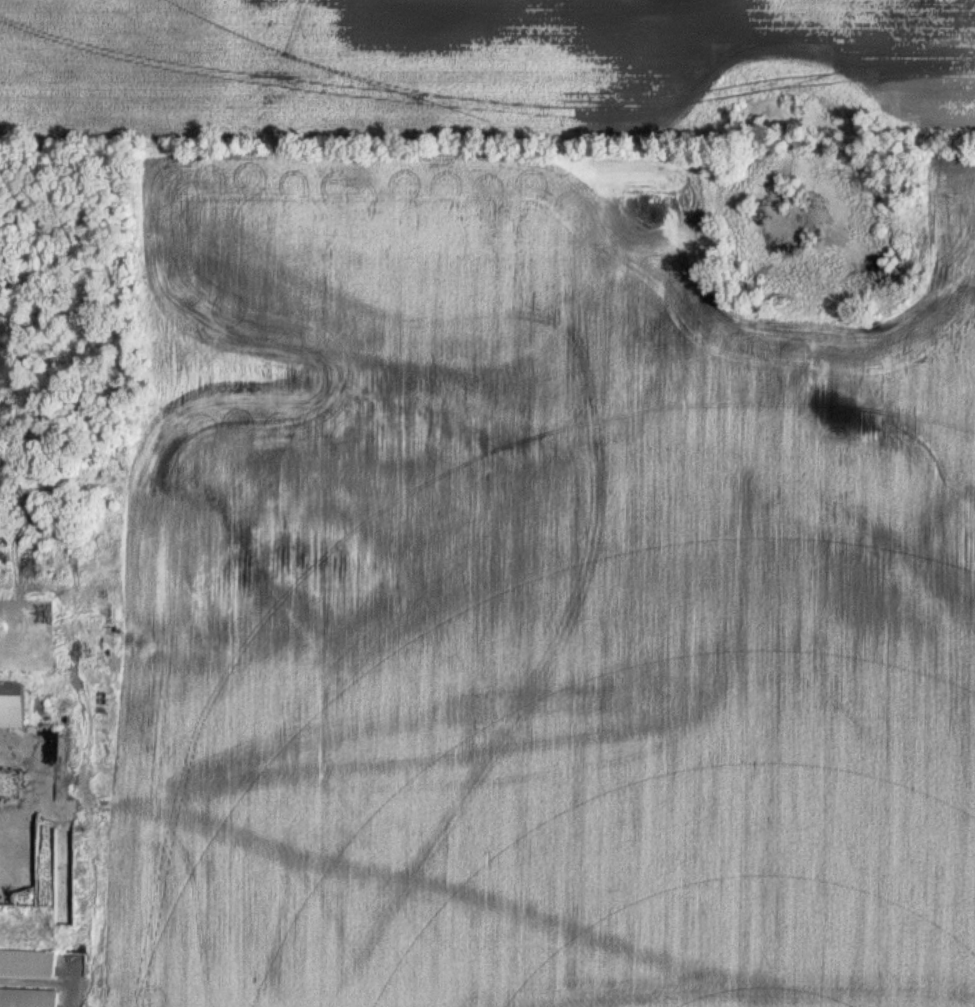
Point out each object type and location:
building: (9, 705)
building: (8, 784)
building: (18, 866)
building: (26, 964)
building: (26, 998)

